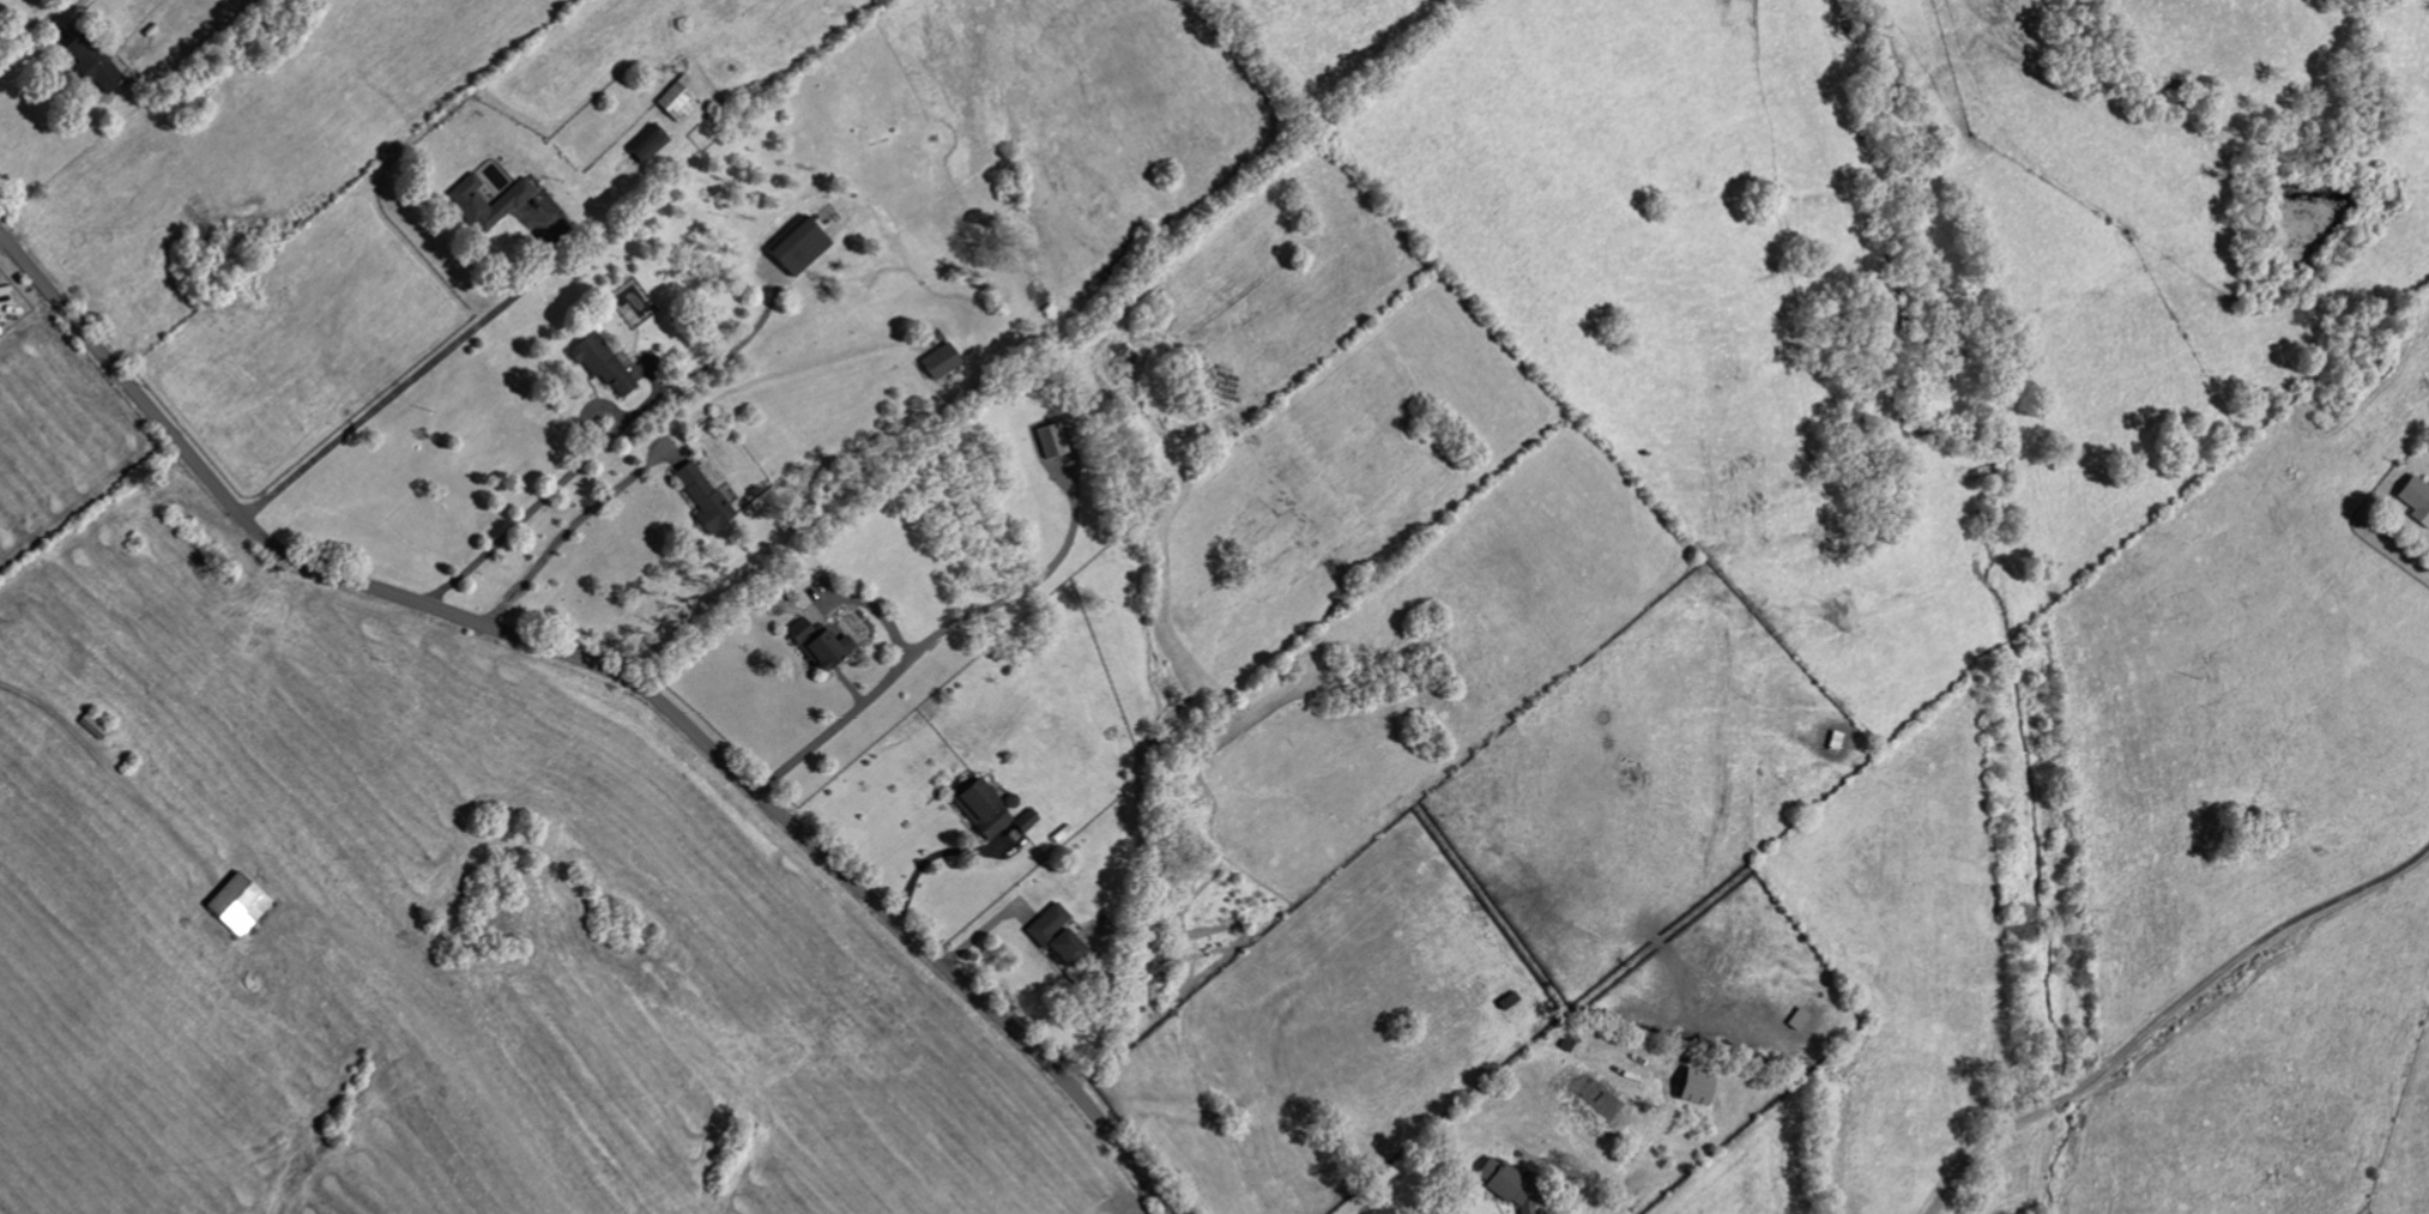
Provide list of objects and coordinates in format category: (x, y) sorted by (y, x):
road: (25, 29)
building: (92, 64)
building: (677, 99)
building: (646, 144)
building: (466, 200)
building: (798, 247)
building: (939, 362)
building: (602, 364)
road: (699, 368)
road: (411, 376)
building: (1051, 441)
building: (702, 497)
building: (2416, 500)
road: (519, 519)
road: (564, 527)
road: (997, 602)
building: (817, 645)
road: (614, 674)
road: (809, 748)
road: (102, 769)
building: (981, 810)
building: (1025, 821)
road: (931, 853)
building: (237, 905)
road: (977, 932)
building: (1055, 936)
road: (1101, 1010)
road: (2163, 1011)
building: (1696, 1087)
building: (1509, 1185)

